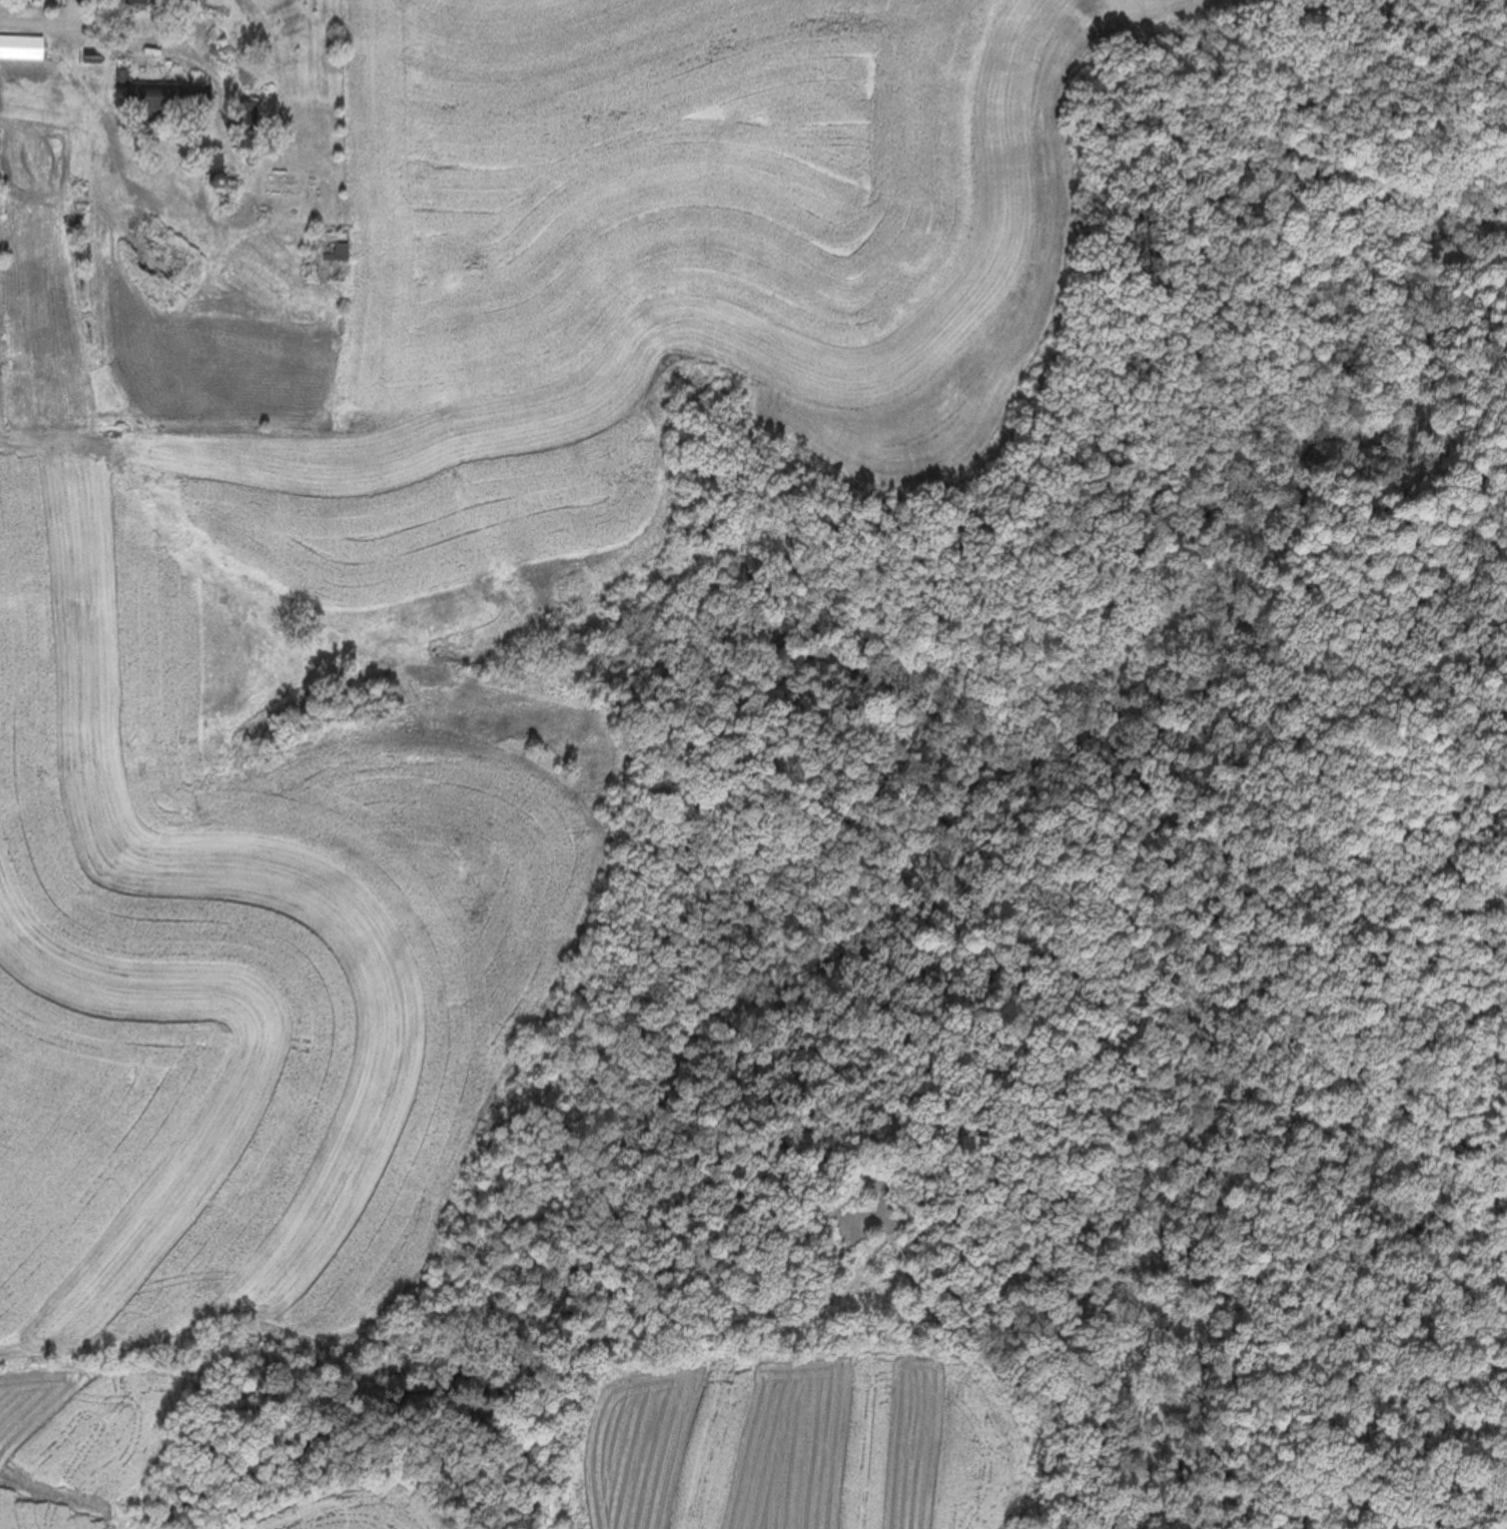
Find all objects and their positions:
building: (132, 1)
road: (34, 23)
building: (19, 46)
building: (86, 57)
building: (155, 100)
building: (240, 124)
building: (333, 252)

